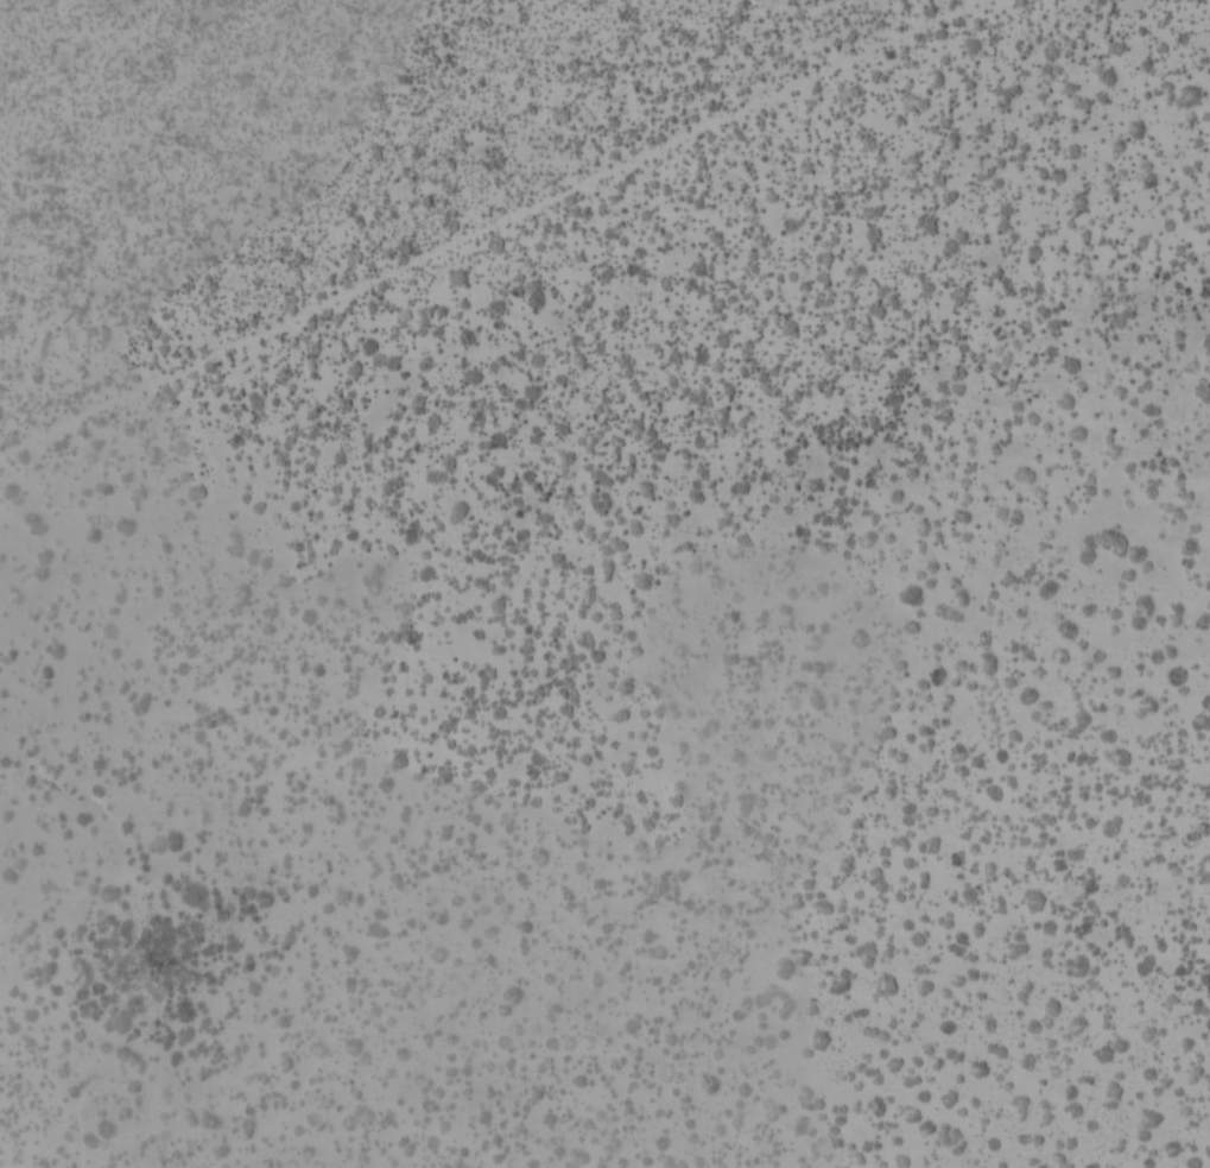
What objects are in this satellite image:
road: (483, 220)

